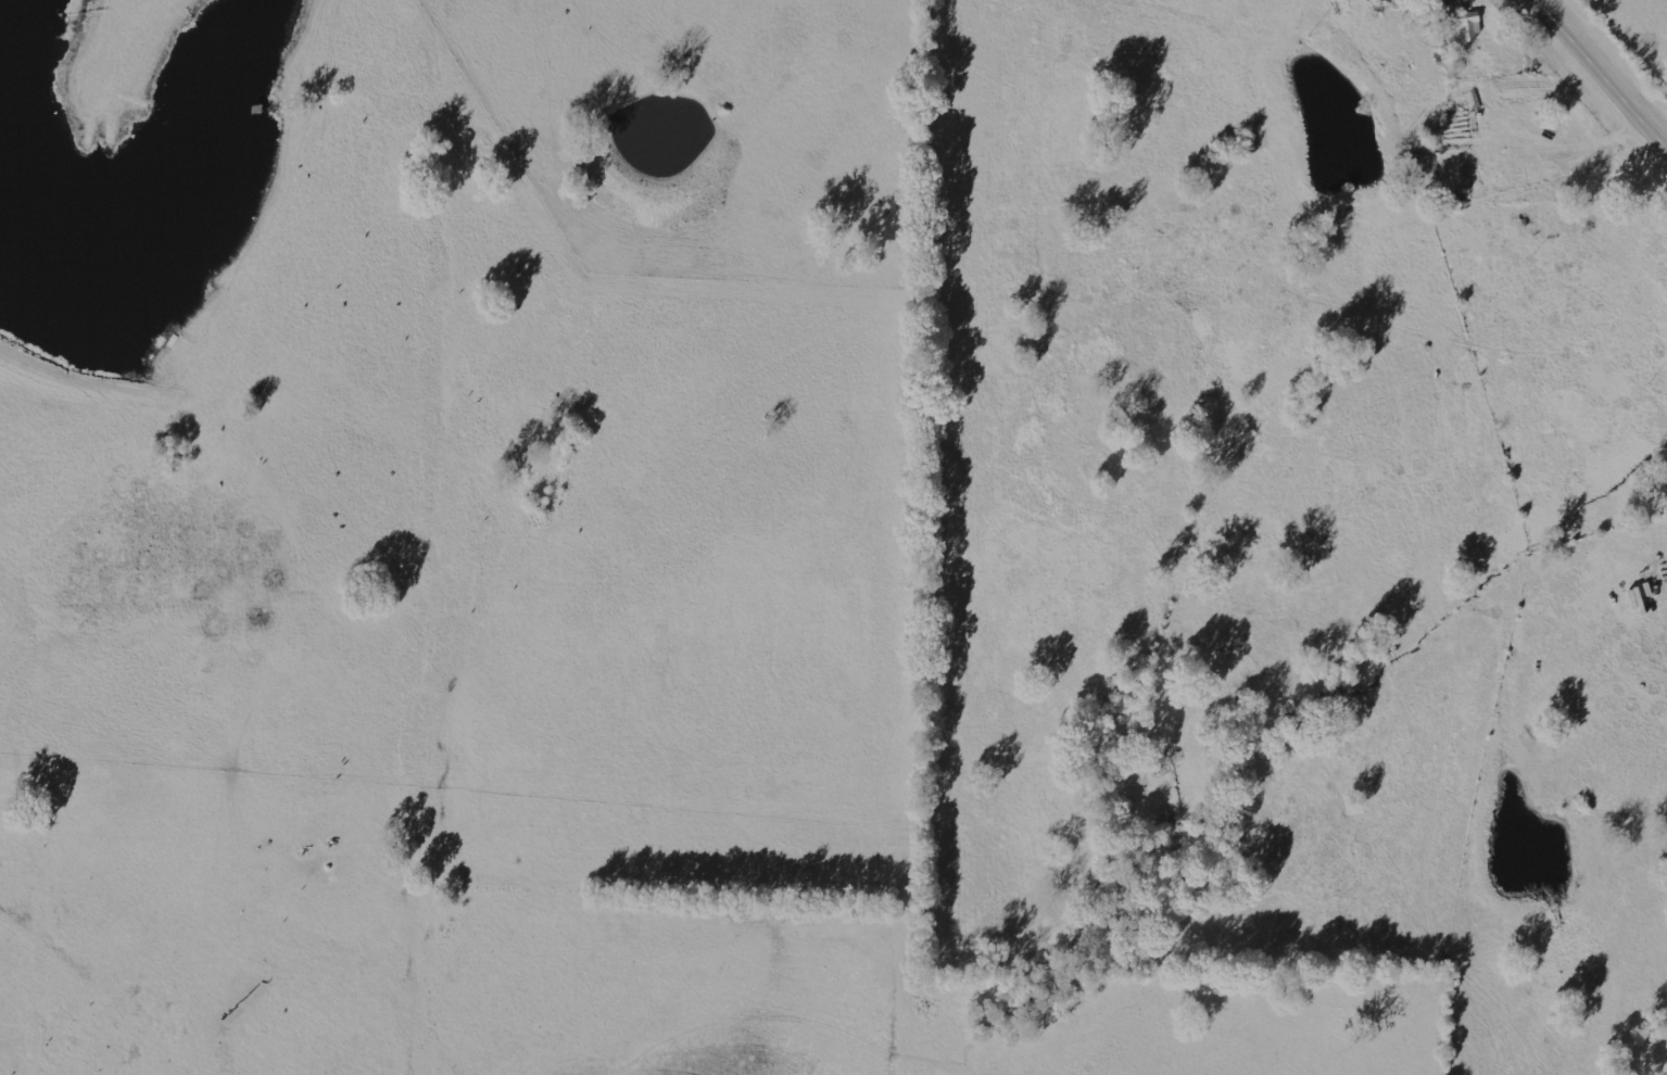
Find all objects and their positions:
building: (1463, 30)
road: (1595, 81)

